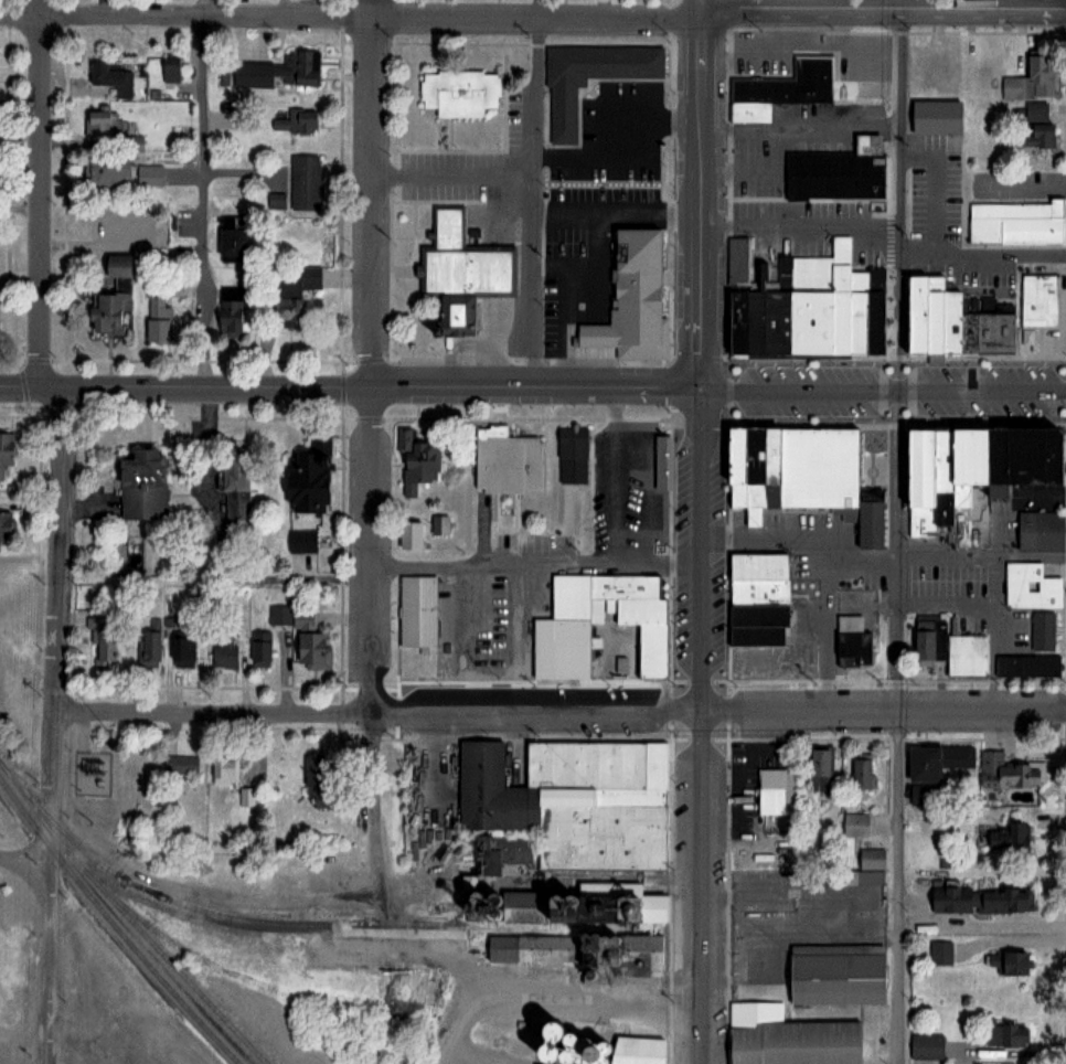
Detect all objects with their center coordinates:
road: (702, 3)
road: (883, 7)
road: (193, 8)
road: (351, 18)
building: (170, 68)
building: (937, 68)
building: (273, 72)
building: (106, 74)
building: (1031, 78)
building: (778, 88)
building: (457, 92)
road: (611, 102)
building: (561, 114)
building: (934, 115)
building: (102, 120)
building: (295, 120)
building: (1034, 127)
building: (132, 142)
road: (632, 157)
building: (833, 170)
building: (107, 171)
building: (149, 174)
road: (451, 177)
building: (303, 181)
road: (40, 192)
road: (372, 192)
road: (701, 198)
road: (203, 201)
road: (529, 203)
road: (897, 212)
road: (614, 213)
building: (1016, 221)
building: (102, 222)
building: (228, 245)
road: (969, 245)
building: (114, 264)
road: (586, 267)
building: (465, 272)
building: (292, 284)
building: (630, 291)
building: (732, 291)
building: (1042, 301)
building: (831, 305)
building: (104, 312)
building: (227, 312)
building: (877, 312)
building: (928, 316)
building: (157, 318)
building: (953, 323)
road: (564, 327)
building: (990, 329)
road: (350, 385)
road: (882, 387)
building: (572, 443)
building: (6, 456)
building: (1000, 459)
building: (1036, 459)
building: (415, 462)
building: (507, 462)
building: (971, 465)
building: (821, 469)
road: (897, 472)
building: (757, 474)
road: (616, 475)
building: (306, 478)
building: (946, 479)
building: (237, 482)
building: (140, 485)
building: (924, 485)
parking lot: (631, 488)
road: (1006, 501)
building: (7, 523)
building: (873, 528)
building: (1038, 531)
building: (408, 534)
road: (768, 536)
building: (300, 541)
road: (981, 555)
road: (862, 557)
road: (611, 562)
road: (523, 563)
building: (1030, 586)
building: (757, 598)
building: (416, 610)
building: (278, 615)
building: (585, 615)
building: (1042, 630)
road: (469, 638)
building: (103, 641)
building: (852, 641)
building: (223, 645)
building: (149, 646)
building: (947, 647)
road: (373, 648)
building: (259, 649)
building: (650, 650)
building: (181, 651)
building: (311, 651)
building: (1026, 666)
road: (883, 710)
road: (215, 713)
road: (537, 713)
road: (55, 724)
road: (701, 726)
building: (935, 759)
building: (818, 763)
building: (180, 765)
building: (224, 770)
building: (861, 770)
building: (1010, 770)
building: (318, 780)
building: (770, 790)
building: (248, 797)
building: (856, 822)
building: (561, 829)
building: (1008, 837)
road: (23, 853)
building: (865, 868)
road: (897, 886)
building: (980, 900)
road: (982, 921)
railway: (116, 923)
railway: (301, 924)
railway: (149, 925)
railway: (141, 928)
building: (580, 950)
building: (940, 951)
building: (1009, 961)
building: (834, 973)
road: (462, 979)
building: (413, 986)
road: (588, 1000)
building: (1004, 1033)
building: (787, 1036)
building: (926, 1045)
building: (584, 1047)

